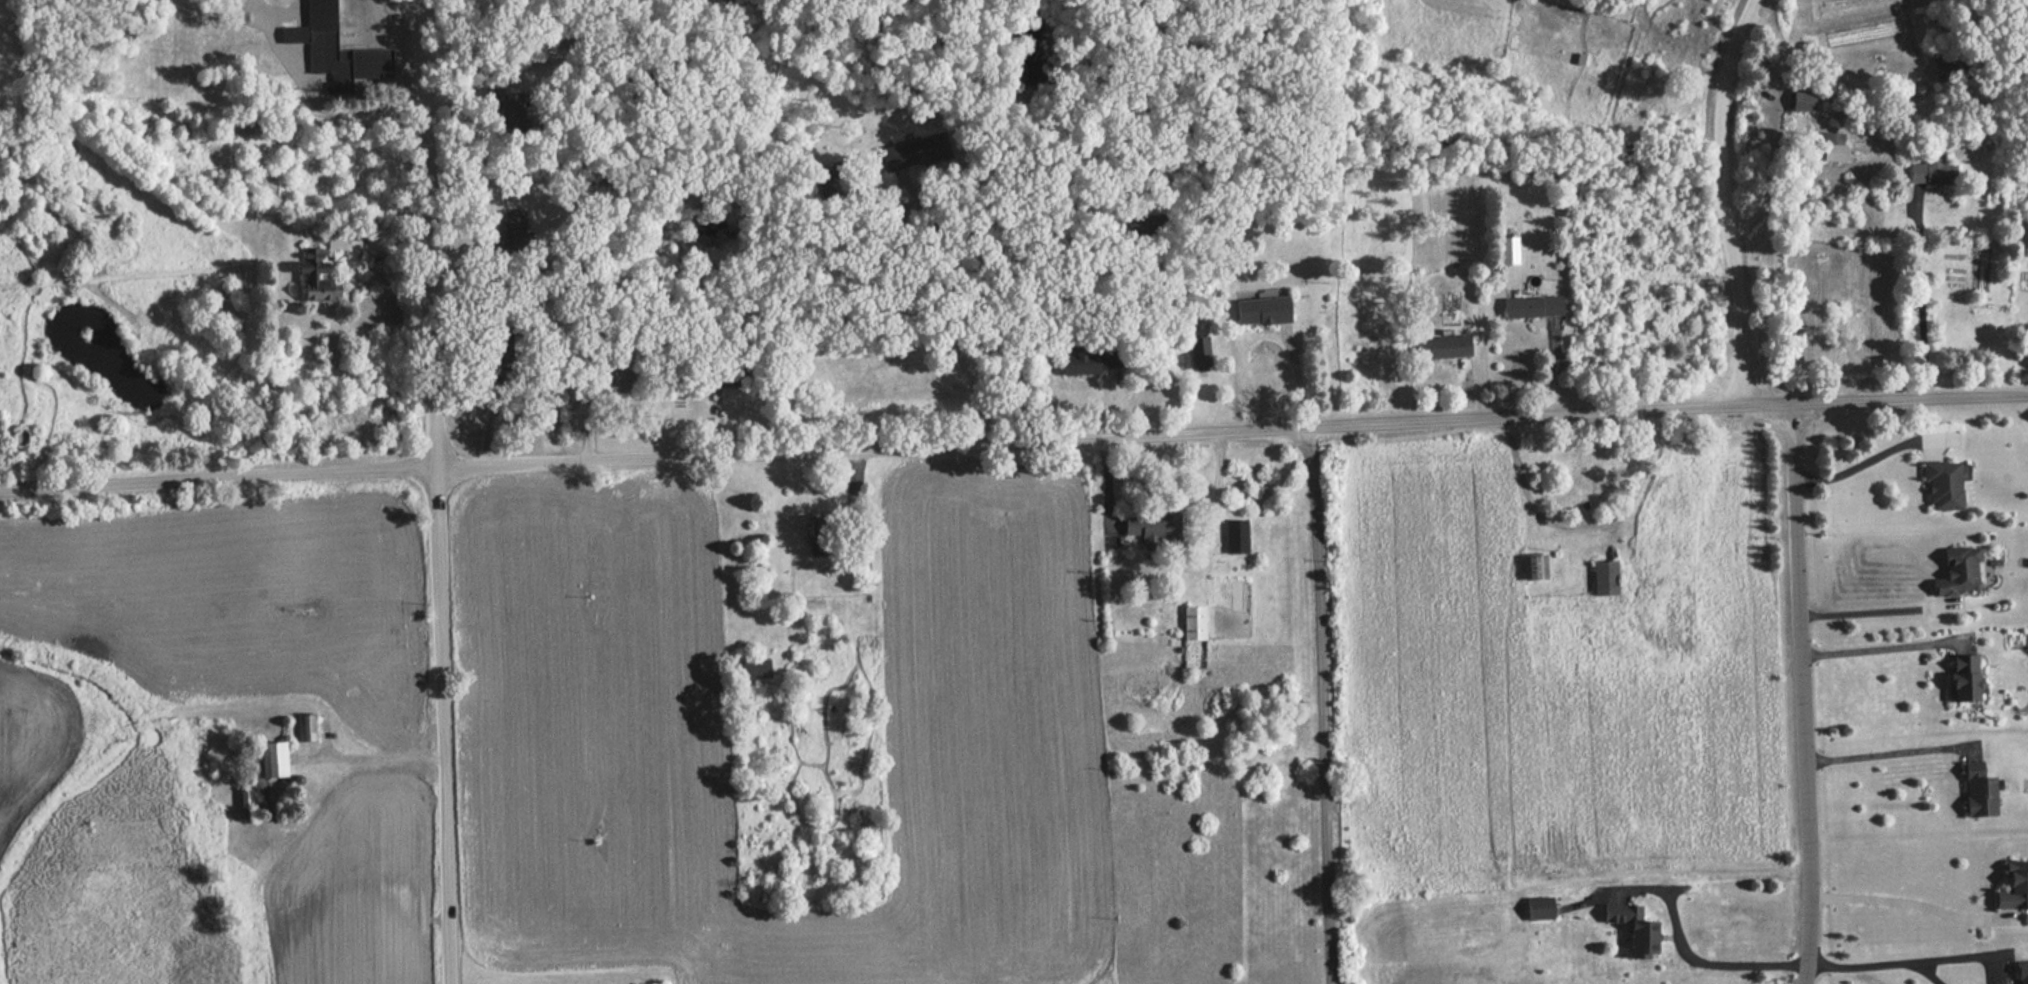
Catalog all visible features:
building: (320, 40)
building: (1951, 68)
building: (1801, 102)
building: (241, 127)
building: (1830, 148)
building: (1932, 174)
road: (1769, 180)
road: (1723, 198)
building: (337, 241)
building: (1510, 250)
building: (317, 268)
road: (1917, 296)
building: (1534, 306)
road: (942, 310)
building: (1264, 310)
building: (1451, 346)
building: (1201, 353)
building: (1090, 360)
building: (738, 374)
building: (621, 381)
road: (1013, 436)
road: (1933, 451)
road: (1874, 459)
building: (1943, 487)
road: (436, 491)
building: (1154, 530)
building: (821, 532)
building: (1236, 536)
building: (1534, 567)
building: (1963, 571)
building: (1606, 577)
road: (1875, 602)
building: (1195, 623)
road: (1879, 643)
building: (756, 668)
building: (1968, 677)
road: (1800, 694)
crop: (593, 701)
road: (1319, 703)
building: (307, 729)
road: (1886, 747)
building: (277, 759)
building: (1983, 791)
building: (2013, 886)
road: (1911, 898)
building: (1541, 908)
building: (1638, 928)
road: (1963, 959)
road: (1728, 967)
road: (1861, 967)
building: (2022, 972)
road: (1925, 975)

